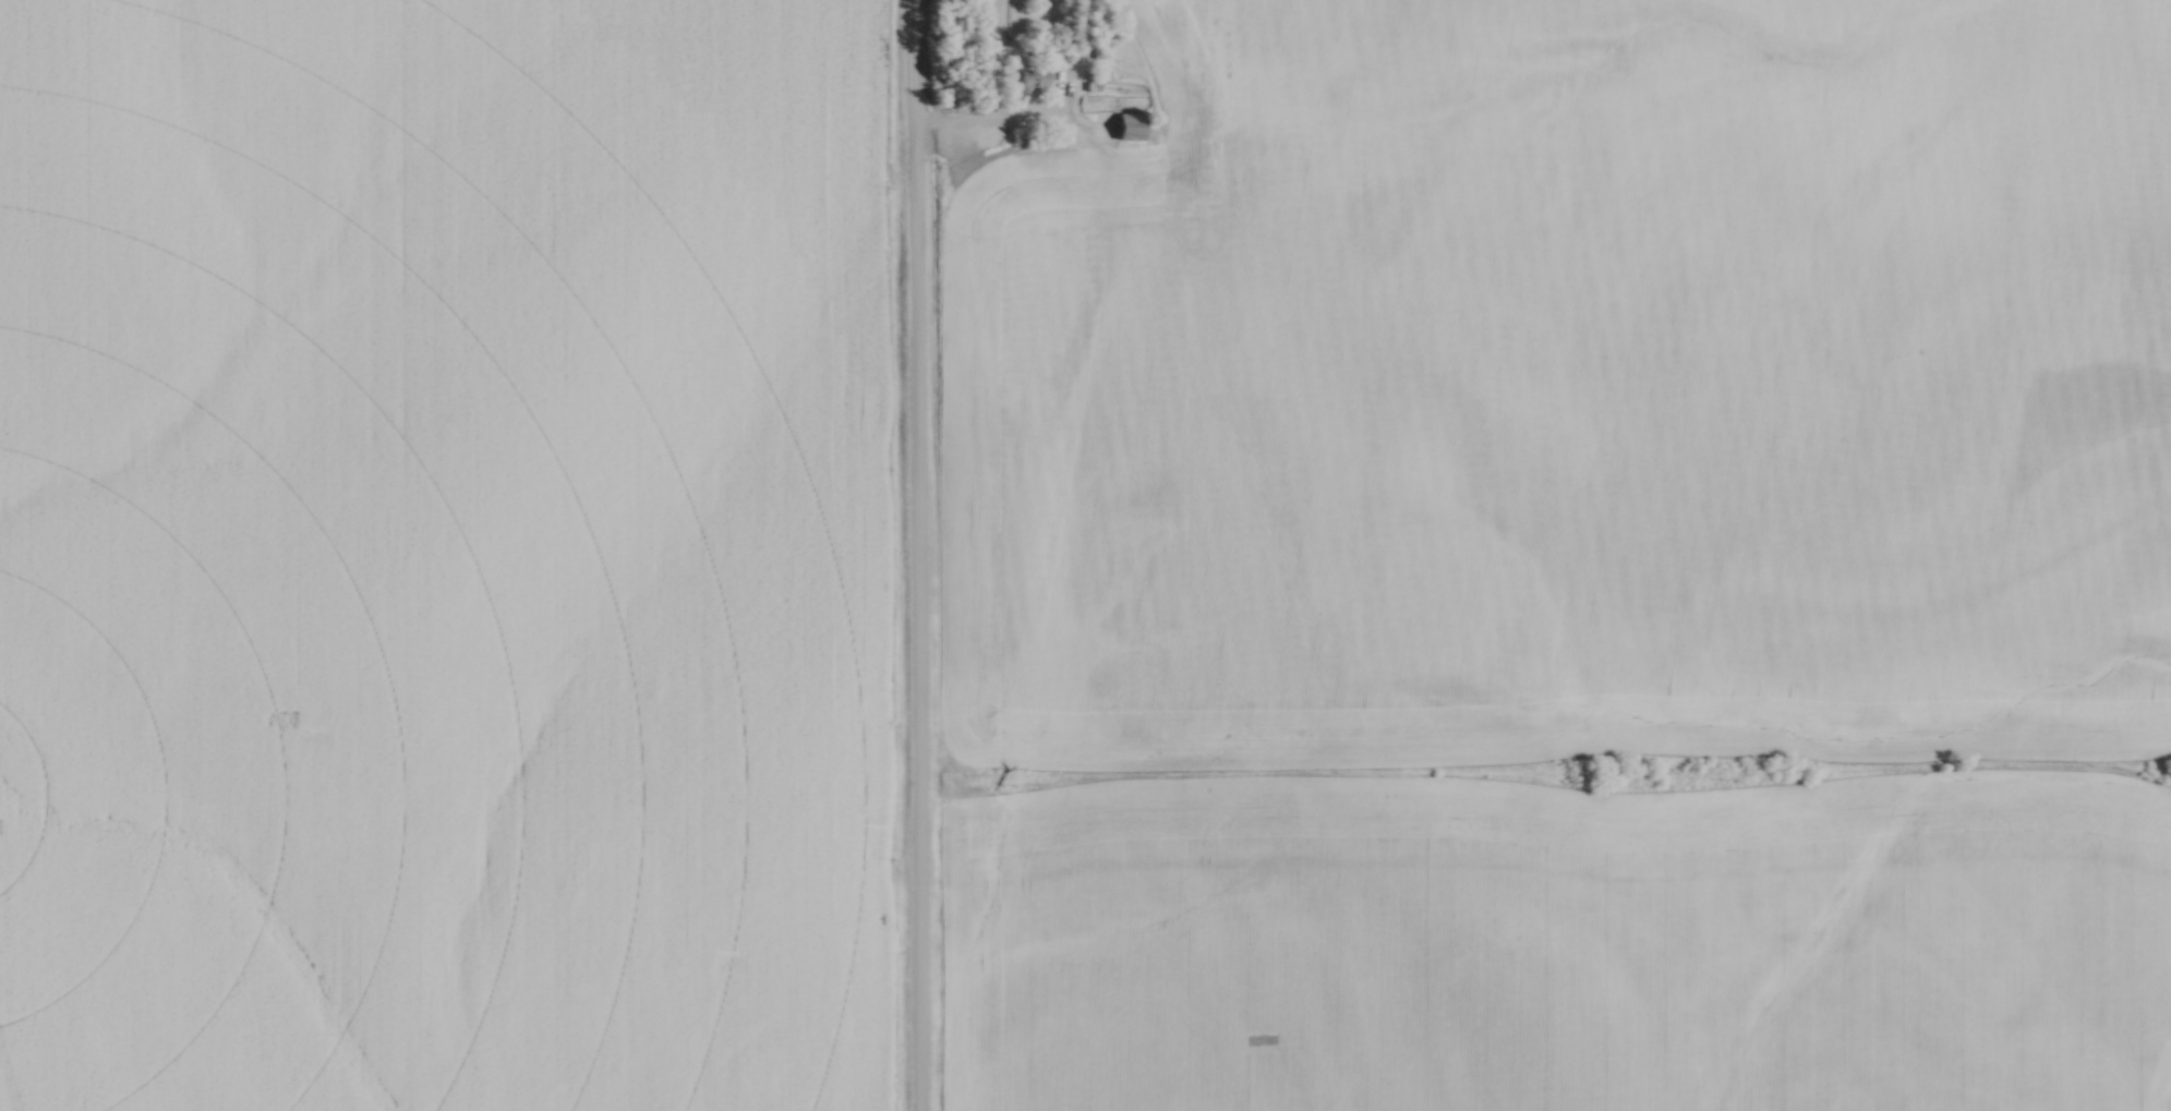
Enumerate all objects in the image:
building: (1034, 81)
building: (1127, 126)
road: (985, 130)
road: (917, 555)

